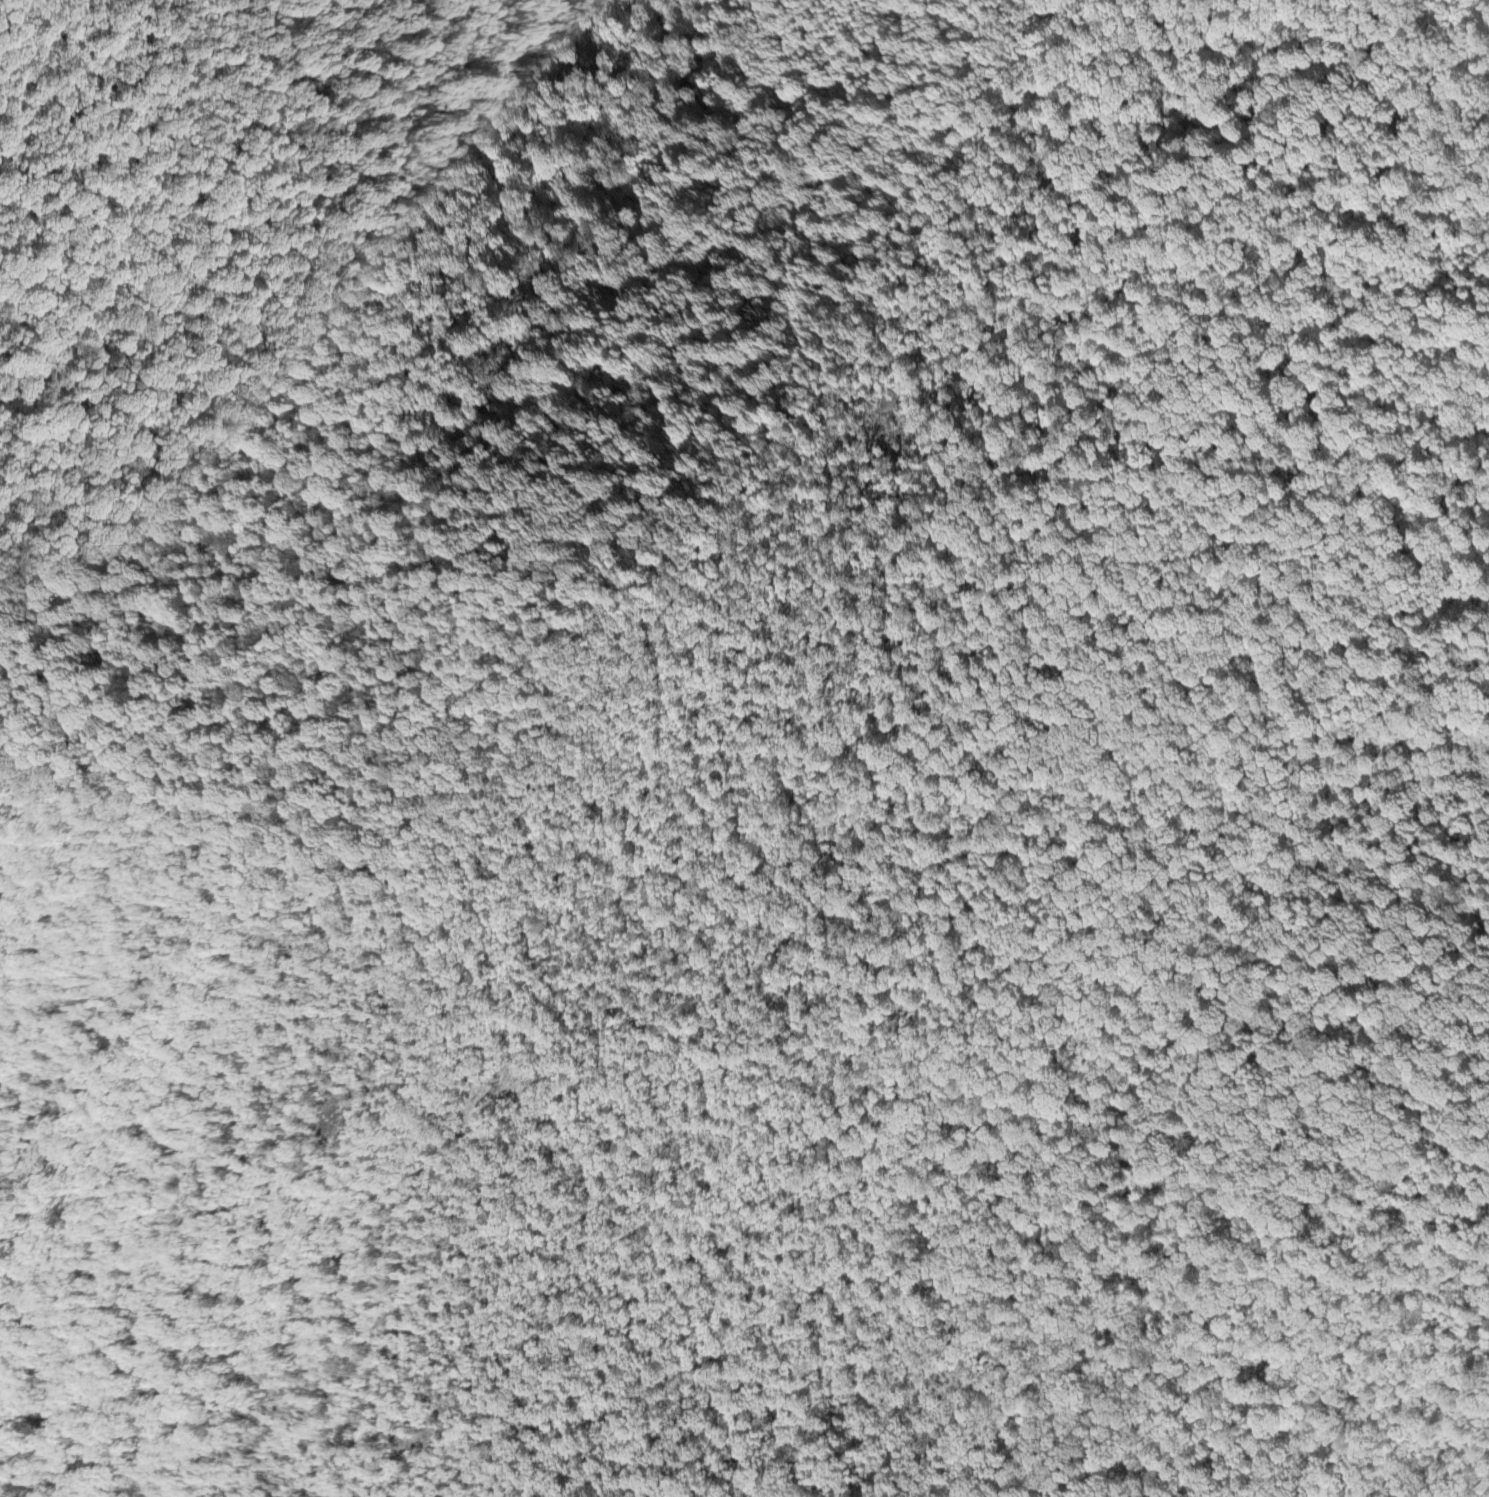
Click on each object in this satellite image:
road: (354, 792)
road: (911, 1455)

